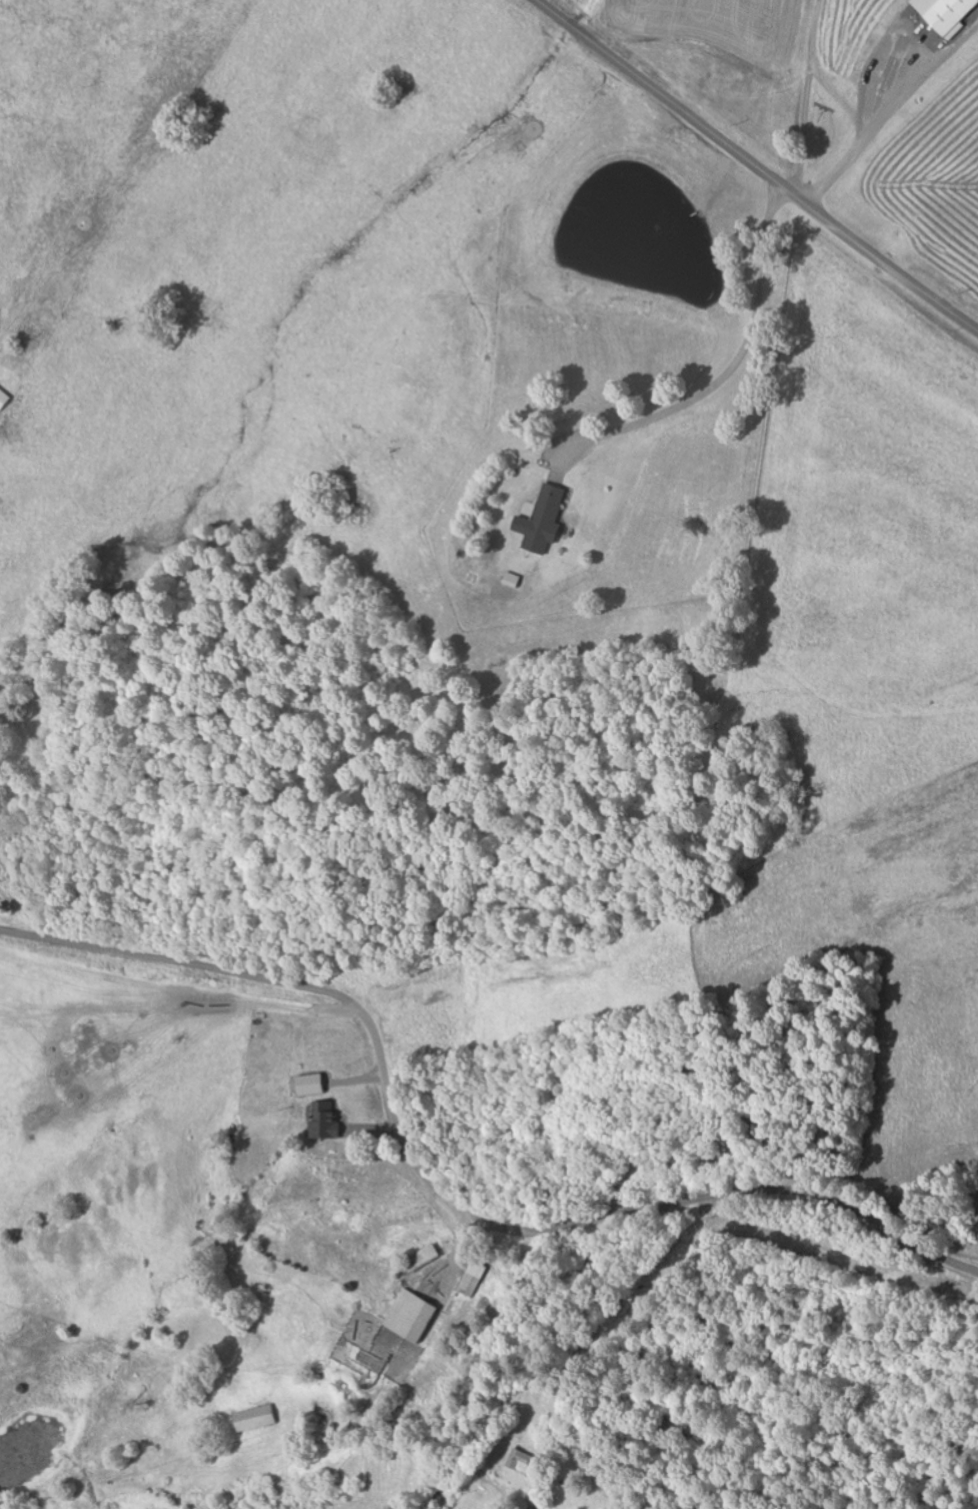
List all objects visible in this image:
building: (950, 14)
road: (801, 91)
road: (909, 126)
road: (755, 164)
road: (81, 183)
building: (6, 399)
building: (547, 521)
road: (776, 550)
building: (516, 580)
building: (314, 1084)
building: (329, 1120)
road: (440, 1191)
building: (426, 1259)
building: (476, 1279)
road: (509, 1314)
building: (415, 1316)
building: (259, 1419)
building: (528, 1462)

